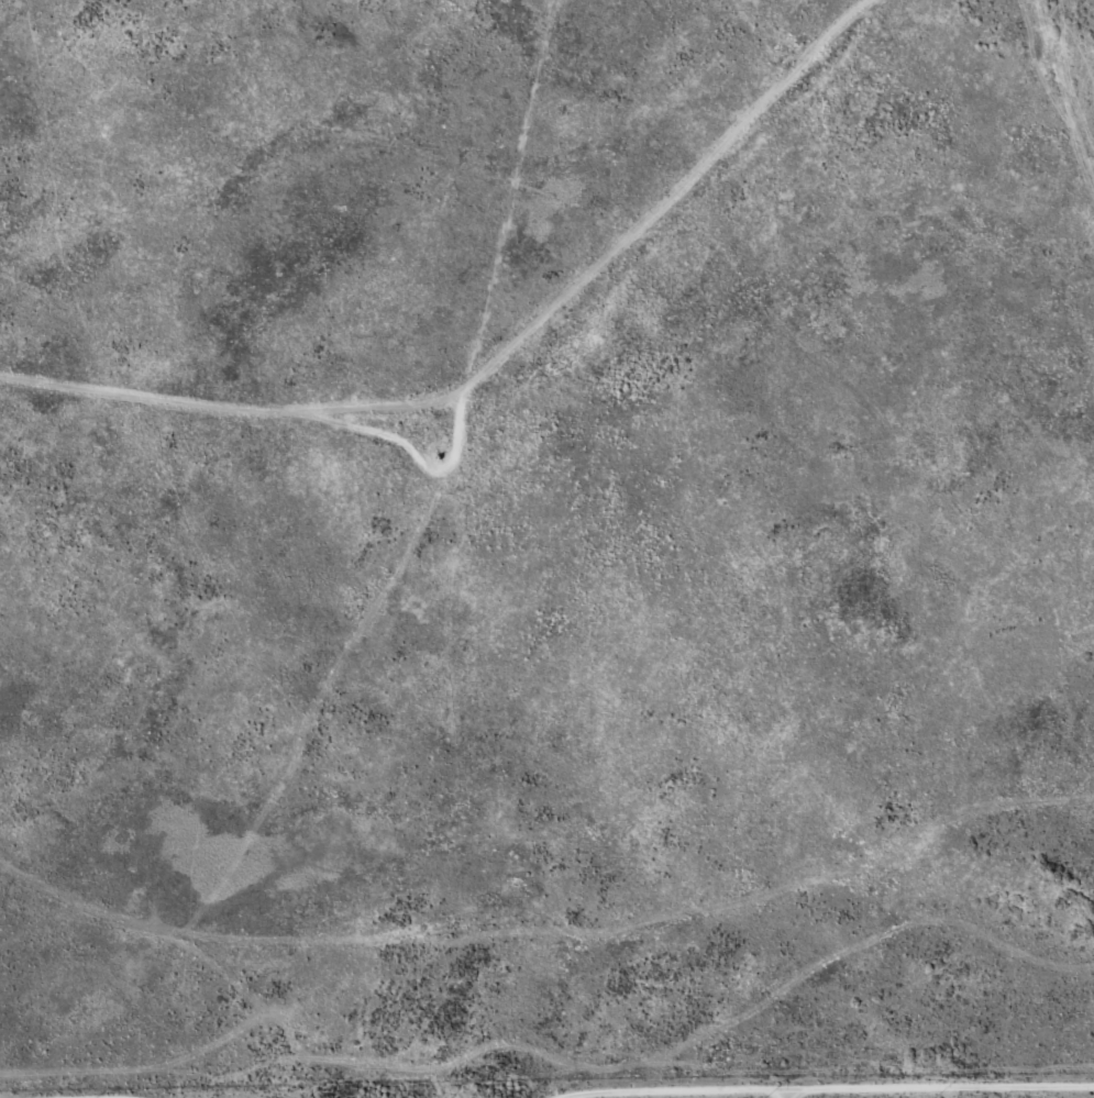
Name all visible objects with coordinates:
road: (554, 304)
road: (78, 391)
road: (835, 1087)

